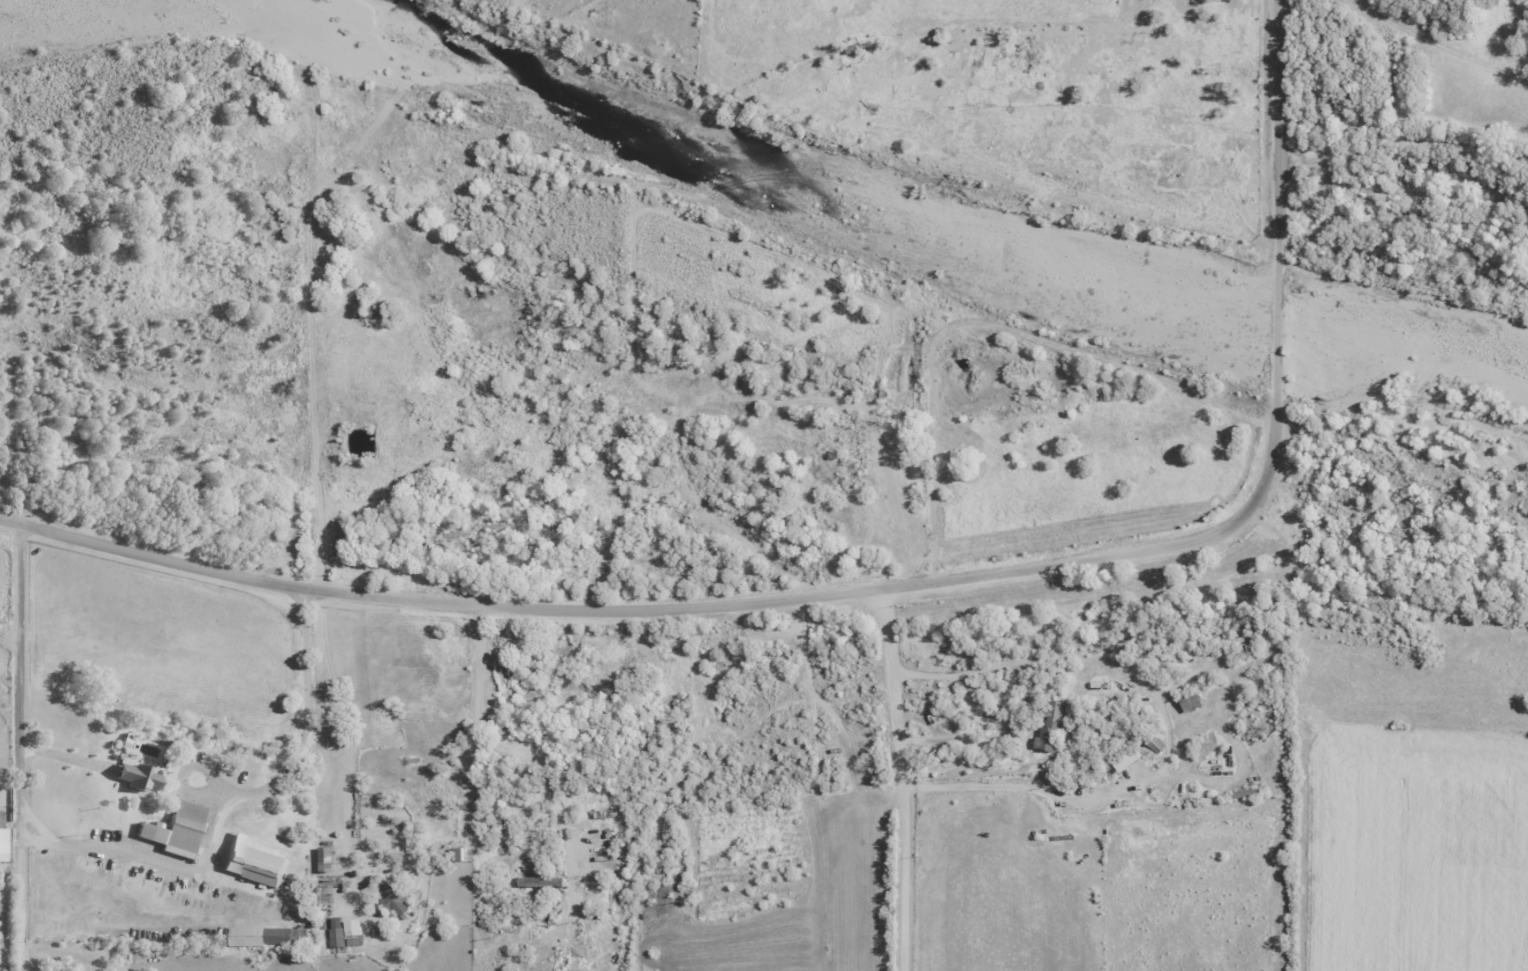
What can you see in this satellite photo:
road: (1436, 44)
road: (1402, 157)
road: (1279, 238)
road: (648, 612)
building: (1191, 702)
road: (1168, 726)
building: (1056, 727)
road: (347, 743)
road: (24, 748)
road: (497, 748)
road: (68, 758)
building: (1128, 759)
building: (138, 777)
road: (903, 780)
road: (229, 791)
building: (177, 829)
building: (326, 859)
building: (540, 882)
building: (394, 898)
building: (344, 931)
building: (287, 936)

